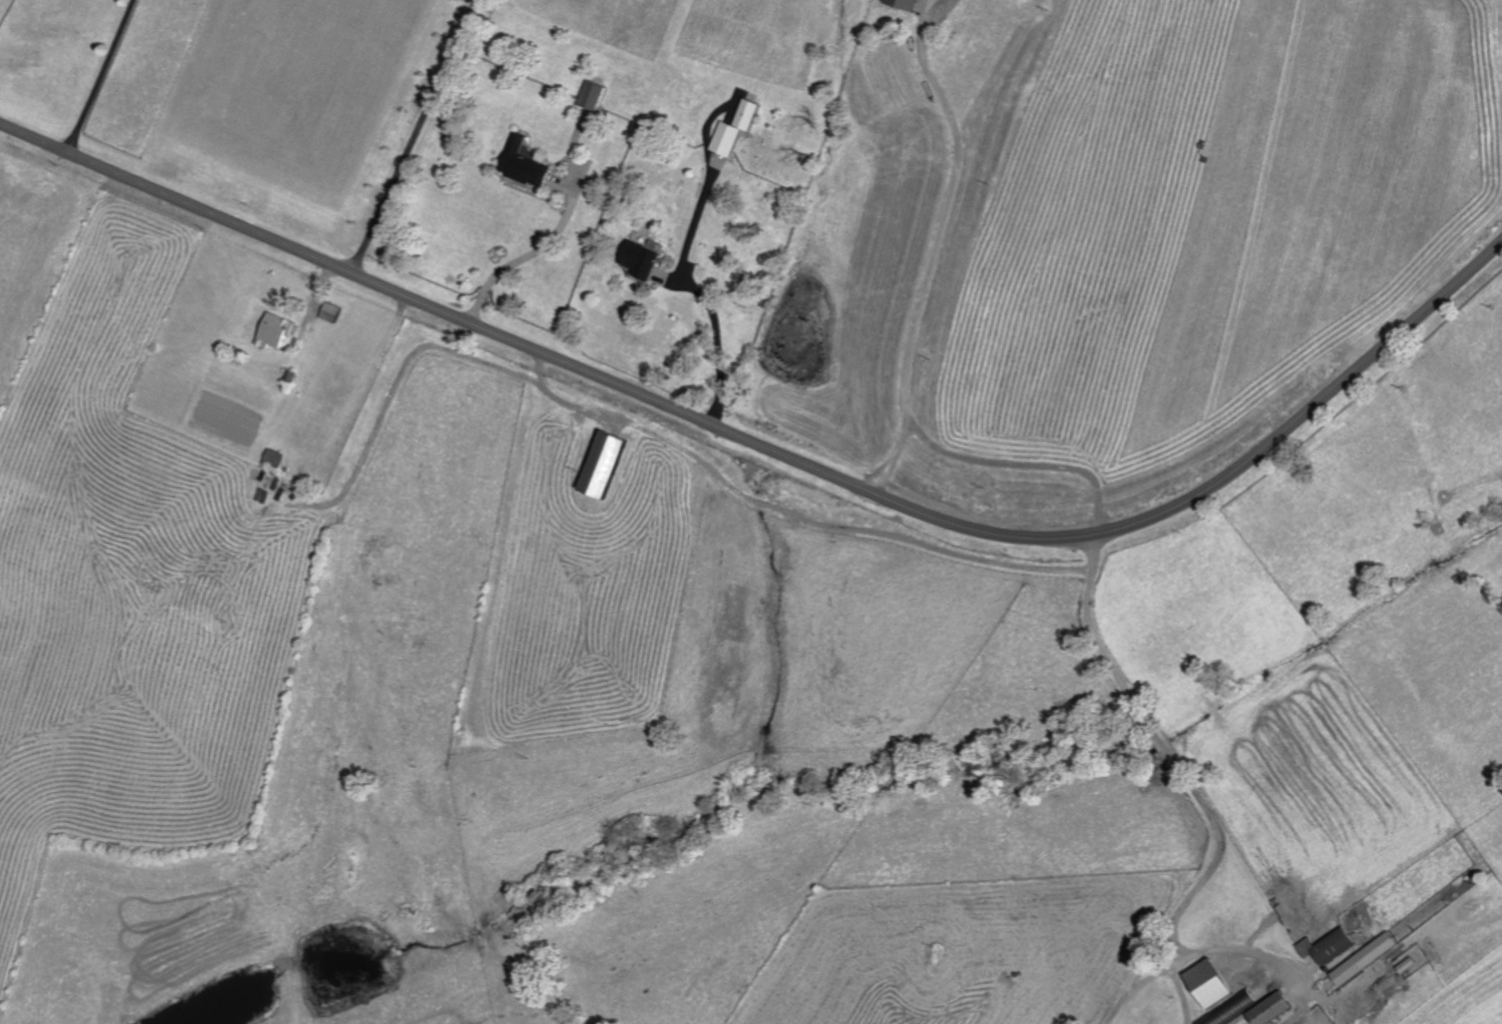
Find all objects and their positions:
building: (903, 4)
road: (97, 75)
building: (591, 95)
building: (735, 128)
road: (413, 136)
building: (523, 164)
road: (924, 244)
road: (526, 254)
building: (640, 260)
road: (699, 291)
building: (332, 312)
building: (275, 330)
road: (415, 348)
road: (775, 451)
road: (1012, 462)
building: (601, 465)
road: (797, 517)
road: (1189, 785)
building: (1327, 945)
road: (1204, 949)
building: (1365, 958)
building: (1209, 983)
building: (1270, 1008)
building: (1233, 1010)

